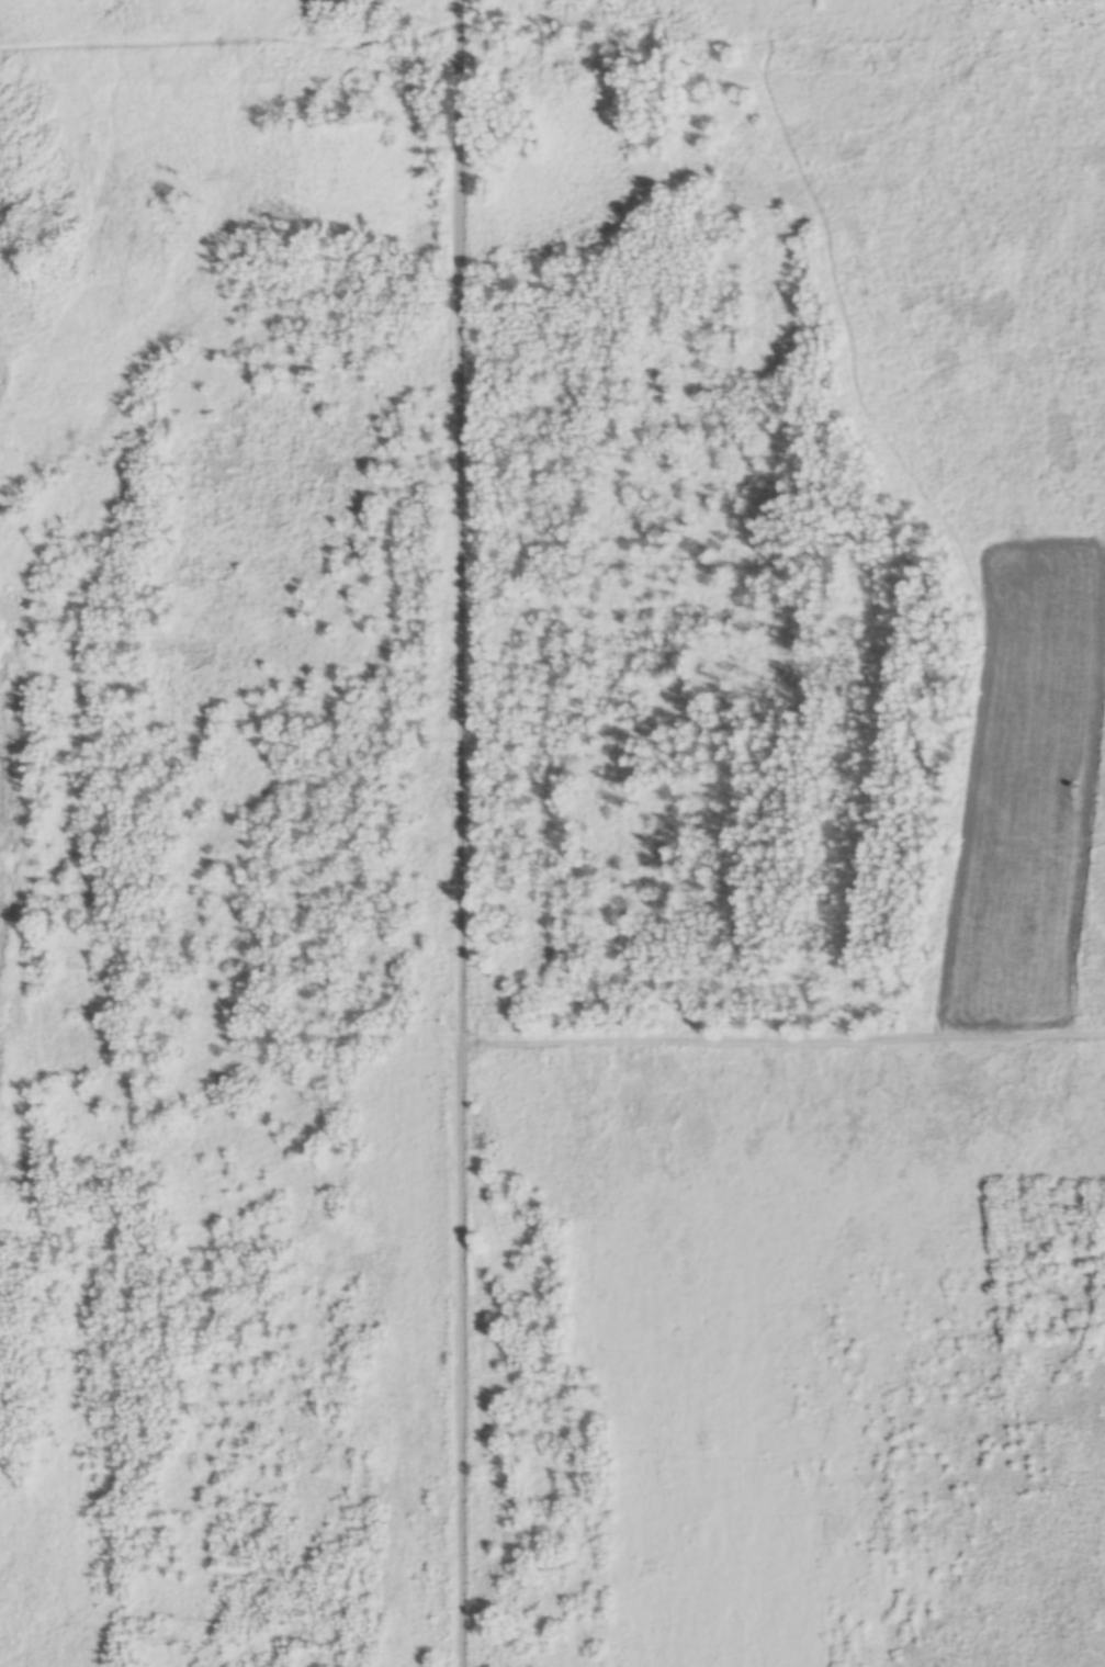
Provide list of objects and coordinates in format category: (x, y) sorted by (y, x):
road: (464, 833)

